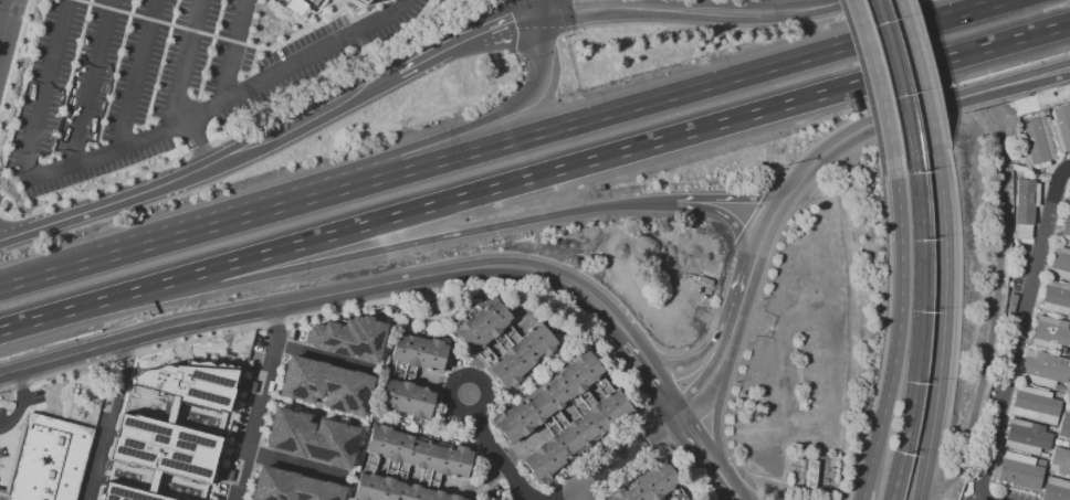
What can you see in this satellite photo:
building: (353, 1)
road: (547, 6)
road: (594, 6)
road: (398, 7)
road: (767, 7)
traffic signals: (548, 12)
road: (746, 14)
road: (7, 28)
road: (2, 33)
road: (473, 36)
road: (232, 54)
road: (957, 58)
road: (185, 66)
road: (927, 68)
road: (916, 70)
road: (137, 74)
road: (867, 74)
railway: (905, 79)
road: (91, 82)
railway: (894, 82)
road: (49, 89)
road: (216, 109)
building: (1045, 113)
road: (878, 123)
road: (566, 125)
building: (1061, 127)
building: (1034, 141)
road: (200, 146)
road: (369, 161)
road: (207, 168)
road: (1066, 169)
road: (496, 190)
road: (735, 201)
building: (1068, 201)
road: (680, 202)
building: (1024, 208)
road: (731, 223)
building: (1066, 231)
road: (408, 244)
building: (1060, 263)
road: (60, 268)
road: (744, 290)
road: (958, 295)
road: (323, 298)
building: (1056, 298)
road: (995, 304)
road: (686, 309)
road: (74, 310)
road: (947, 317)
road: (896, 320)
railway: (929, 331)
railway: (916, 333)
road: (1020, 333)
building: (346, 334)
building: (1050, 334)
road: (730, 337)
building: (502, 343)
road: (627, 347)
road: (691, 362)
building: (1043, 369)
building: (412, 376)
road: (650, 383)
building: (323, 387)
building: (1059, 387)
road: (827, 389)
road: (700, 390)
building: (1068, 395)
building: (553, 397)
road: (262, 403)
building: (1034, 404)
road: (21, 405)
road: (715, 418)
road: (108, 421)
building: (1064, 423)
building: (166, 428)
building: (575, 436)
building: (1026, 437)
building: (308, 439)
building: (1057, 442)
building: (1063, 444)
road: (694, 447)
road: (493, 449)
building: (1042, 456)
building: (49, 459)
road: (608, 461)
building: (1060, 461)
building: (409, 466)
building: (1019, 471)
building: (809, 474)
road: (944, 477)
building: (649, 483)
building: (289, 488)
building: (1056, 489)
road: (725, 490)
road: (583, 491)
building: (3, 494)
road: (862, 494)
road: (864, 494)
road: (922, 497)
building: (690, 499)
road: (982, 499)

